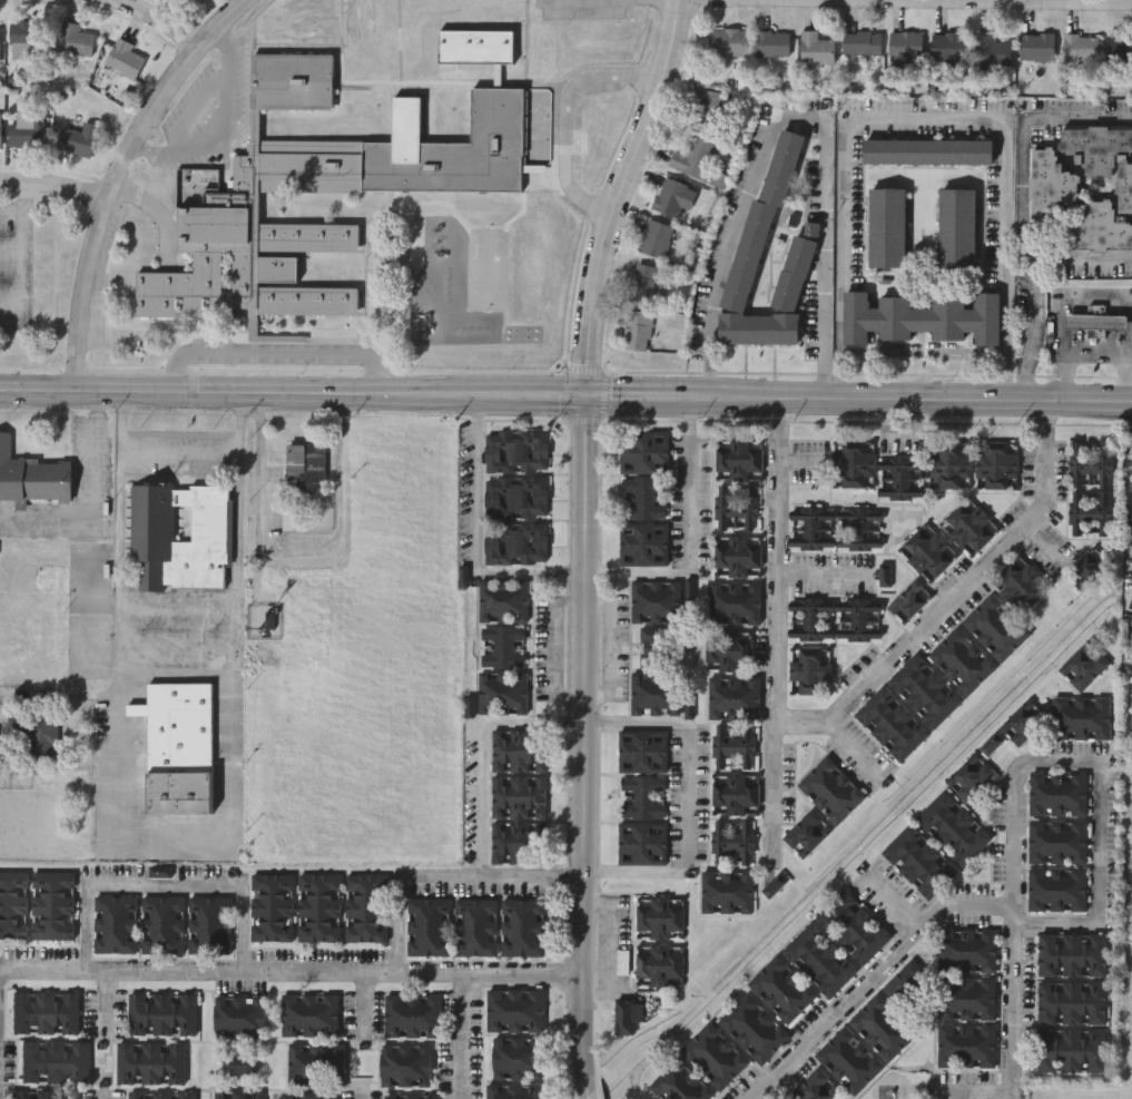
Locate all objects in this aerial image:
road: (905, 7)
building: (357, 19)
road: (167, 26)
building: (314, 33)
building: (23, 38)
building: (73, 39)
building: (728, 42)
building: (860, 42)
building: (771, 43)
building: (948, 46)
building: (0, 47)
building: (1036, 47)
building: (1080, 47)
building: (815, 48)
building: (905, 48)
building: (992, 50)
building: (1120, 51)
building: (124, 58)
road: (204, 98)
building: (703, 106)
road: (793, 111)
road: (567, 114)
road: (928, 122)
building: (26, 129)
building: (1, 137)
building: (77, 139)
road: (148, 149)
building: (927, 153)
building: (692, 157)
road: (121, 175)
building: (1042, 183)
road: (58, 184)
building: (322, 186)
building: (1120, 188)
road: (619, 196)
building: (669, 196)
road: (144, 198)
road: (11, 208)
road: (1025, 210)
building: (760, 220)
building: (886, 228)
building: (957, 229)
building: (654, 238)
road: (21, 255)
road: (1079, 255)
road: (10, 256)
building: (642, 284)
road: (1071, 301)
building: (771, 305)
building: (921, 318)
building: (1095, 321)
building: (636, 331)
road: (275, 352)
road: (923, 352)
road: (1075, 356)
road: (1129, 377)
road: (565, 396)
traffic signals: (588, 398)
road: (120, 420)
road: (179, 447)
building: (515, 451)
building: (643, 451)
building: (737, 460)
building: (852, 463)
building: (947, 463)
building: (995, 464)
building: (1090, 464)
building: (306, 467)
building: (32, 478)
building: (899, 478)
building: (515, 497)
building: (642, 497)
building: (734, 508)
building: (1089, 513)
building: (152, 523)
building: (967, 526)
building: (809, 529)
building: (857, 529)
road: (688, 534)
road: (474, 537)
building: (514, 542)
building: (642, 542)
road: (297, 551)
building: (927, 551)
building: (736, 555)
road: (819, 575)
building: (884, 575)
building: (1018, 583)
building: (502, 599)
building: (907, 599)
building: (654, 601)
building: (732, 601)
building: (809, 619)
building: (857, 620)
building: (994, 627)
building: (501, 646)
road: (562, 646)
building: (651, 647)
building: (728, 649)
building: (959, 661)
building: (1084, 665)
building: (809, 669)
building: (924, 690)
building: (502, 693)
building: (654, 694)
building: (734, 698)
road: (841, 715)
building: (1081, 718)
building: (1023, 722)
building: (890, 724)
building: (41, 738)
road: (582, 739)
building: (178, 745)
building: (731, 746)
building: (519, 750)
building: (641, 750)
road: (480, 752)
road: (1101, 767)
building: (969, 777)
road: (776, 789)
building: (830, 789)
building: (1056, 794)
building: (735, 795)
building: (518, 796)
building: (641, 796)
road: (687, 801)
building: (952, 828)
building: (807, 833)
road: (157, 842)
building: (518, 842)
building: (1056, 842)
building: (640, 843)
building: (731, 843)
building: (917, 862)
road: (443, 879)
road: (163, 886)
building: (776, 887)
building: (725, 891)
building: (1055, 891)
building: (13, 903)
building: (51, 903)
building: (269, 906)
building: (317, 907)
building: (364, 907)
building: (659, 916)
road: (1015, 918)
building: (112, 923)
building: (161, 923)
building: (207, 923)
building: (426, 924)
building: (853, 924)
building: (475, 925)
building: (521, 925)
building: (967, 949)
building: (1072, 954)
building: (819, 958)
building: (623, 964)
building: (659, 964)
road: (289, 973)
building: (906, 980)
road: (876, 984)
building: (779, 987)
building: (965, 997)
road: (105, 1000)
building: (1072, 1000)
road: (361, 1004)
building: (514, 1009)
building: (43, 1011)
building: (159, 1011)
building: (308, 1013)
road: (1016, 1013)
building: (413, 1014)
building: (237, 1015)
building: (880, 1027)
building: (752, 1028)
road: (460, 1037)
building: (965, 1043)
building: (1072, 1048)
building: (715, 1054)
building: (516, 1057)
building: (53, 1059)
building: (849, 1060)
building: (150, 1061)
building: (237, 1062)
building: (314, 1062)
building: (404, 1063)
building: (679, 1082)
building: (814, 1087)
building: (513, 1090)
road: (584, 1090)
building: (45, 1093)
building: (237, 1093)
building: (160, 1095)
building: (307, 1095)
building: (412, 1096)
road: (362, 1097)

